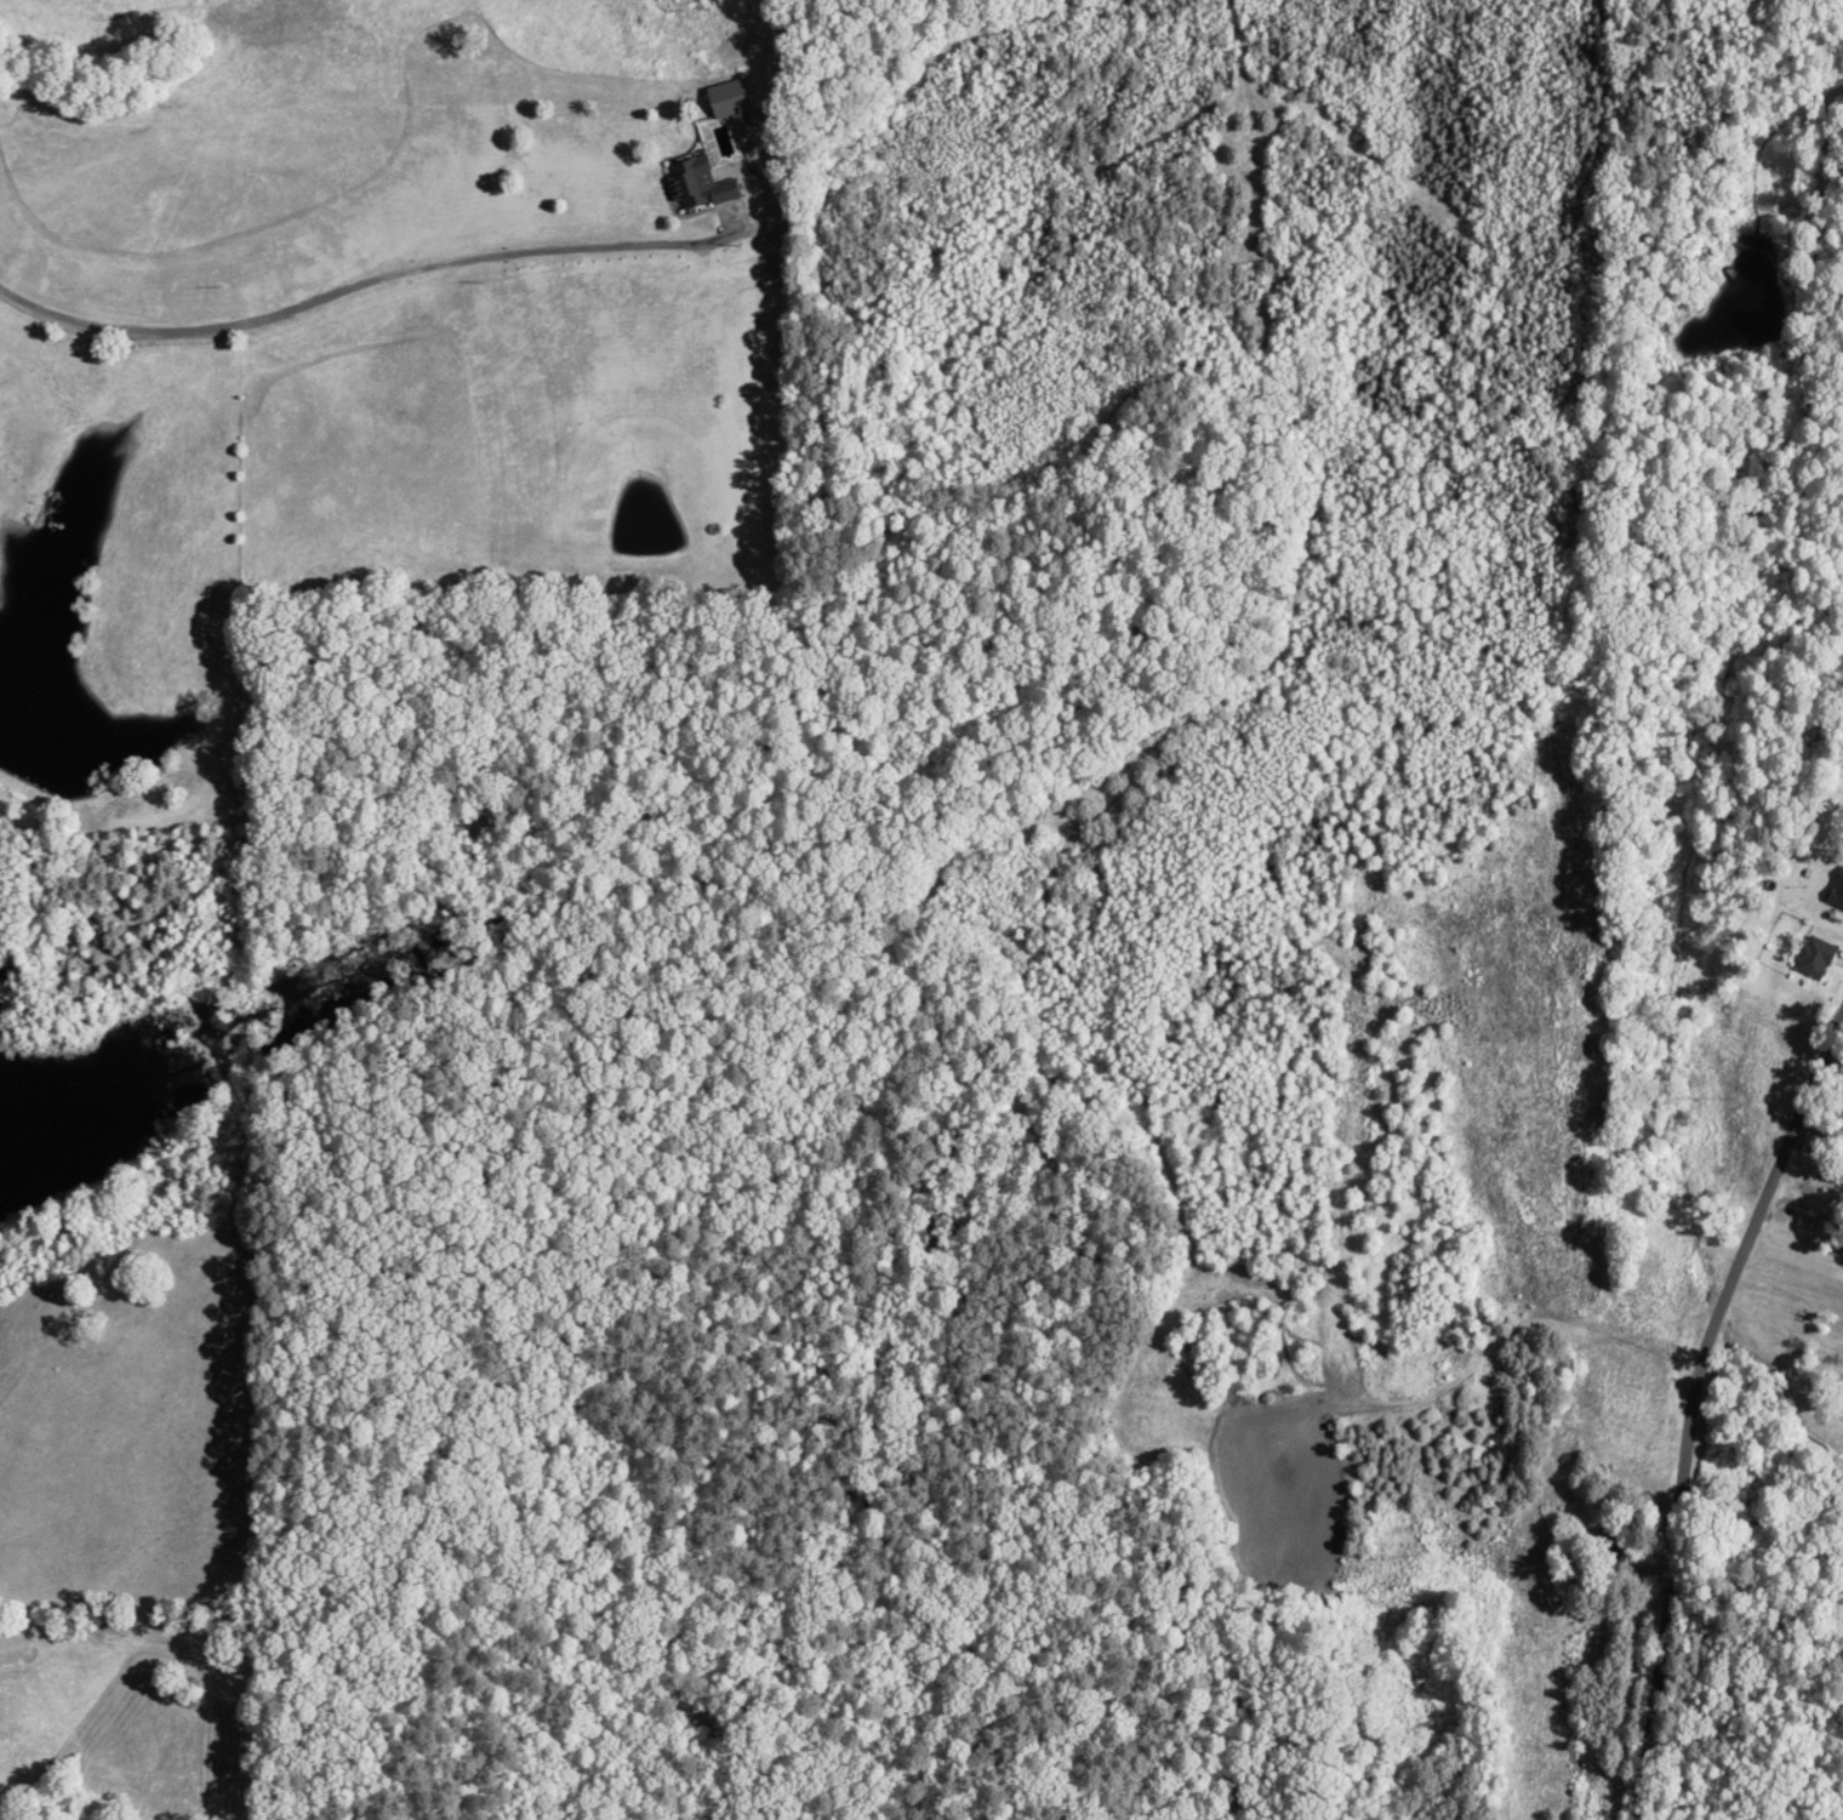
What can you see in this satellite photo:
building: (726, 97)
building: (709, 176)
building: (1835, 890)
building: (1810, 957)
road: (1702, 1407)

